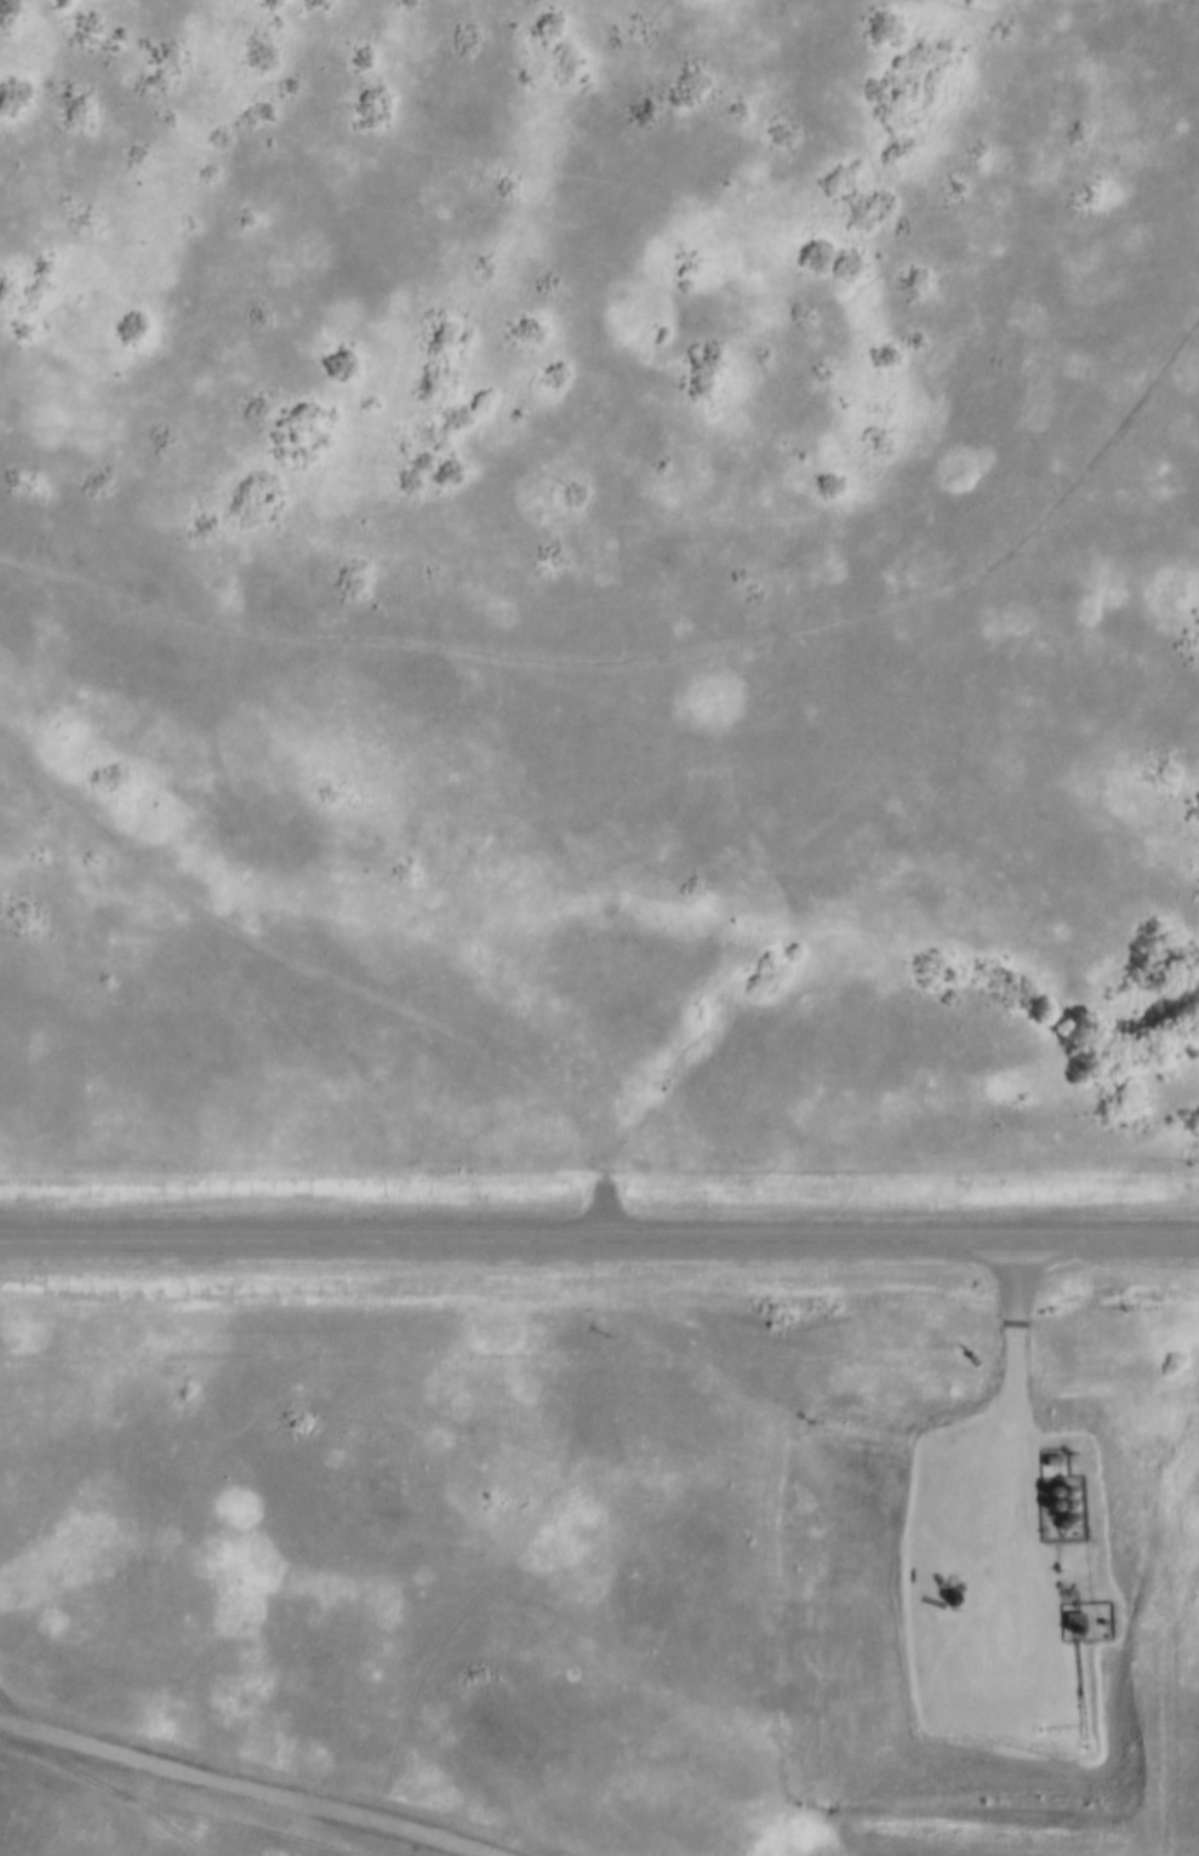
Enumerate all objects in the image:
road: (599, 1240)
road: (982, 1324)
building: (1058, 1489)
storage tank: (1058, 1489)
building: (1043, 1490)
storage tank: (1043, 1490)
building: (1060, 1502)
storage tank: (1060, 1502)
building: (1044, 1504)
storage tank: (1044, 1504)
building: (1060, 1517)
storage tank: (1060, 1517)
petroleum well: (950, 1589)
building: (1074, 1622)

